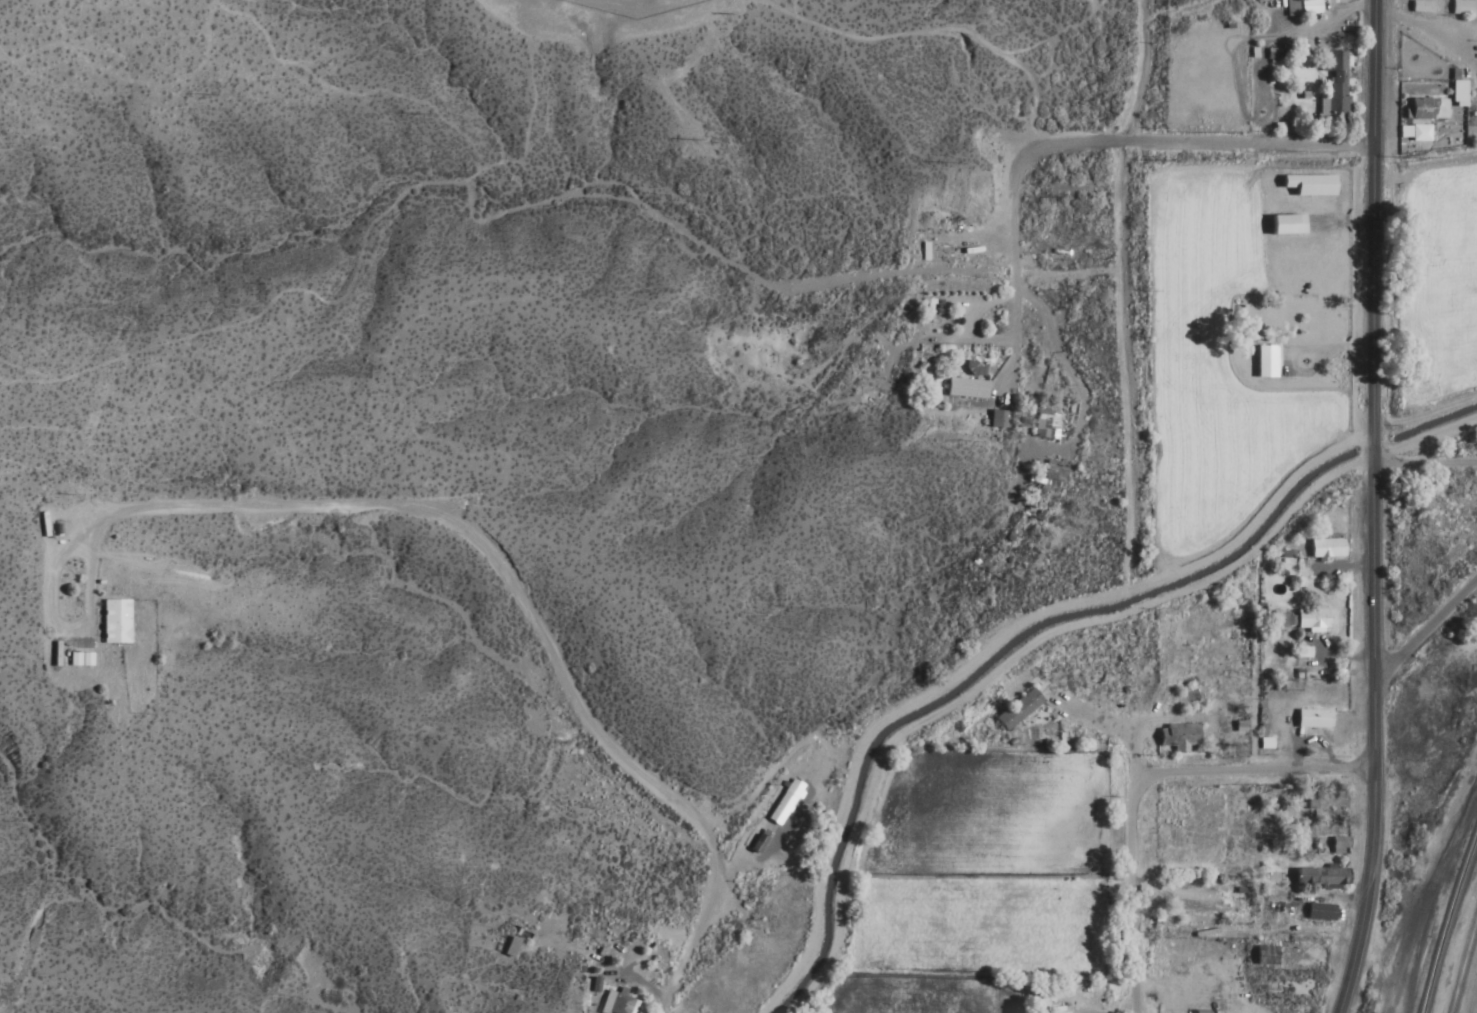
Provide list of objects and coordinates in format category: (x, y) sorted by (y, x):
building: (1307, 7)
building: (1333, 88)
building: (1455, 93)
building: (1419, 108)
road: (1179, 147)
building: (1305, 186)
building: (1283, 225)
road: (1011, 264)
building: (1321, 324)
building: (1265, 362)
road: (1364, 382)
building: (964, 389)
building: (995, 420)
building: (1044, 425)
road: (1419, 465)
building: (1053, 471)
building: (1324, 549)
building: (1309, 619)
building: (113, 622)
road: (1420, 630)
building: (78, 659)
building: (1016, 710)
building: (1311, 720)
building: (1178, 739)
road: (1251, 769)
building: (783, 803)
building: (747, 841)
building: (1336, 846)
road: (1137, 863)
building: (1318, 877)
road: (1365, 890)
building: (1193, 905)
building: (1318, 912)
railway: (1446, 918)
railway: (1411, 926)
building: (509, 947)
railway: (1462, 962)
building: (615, 1003)

